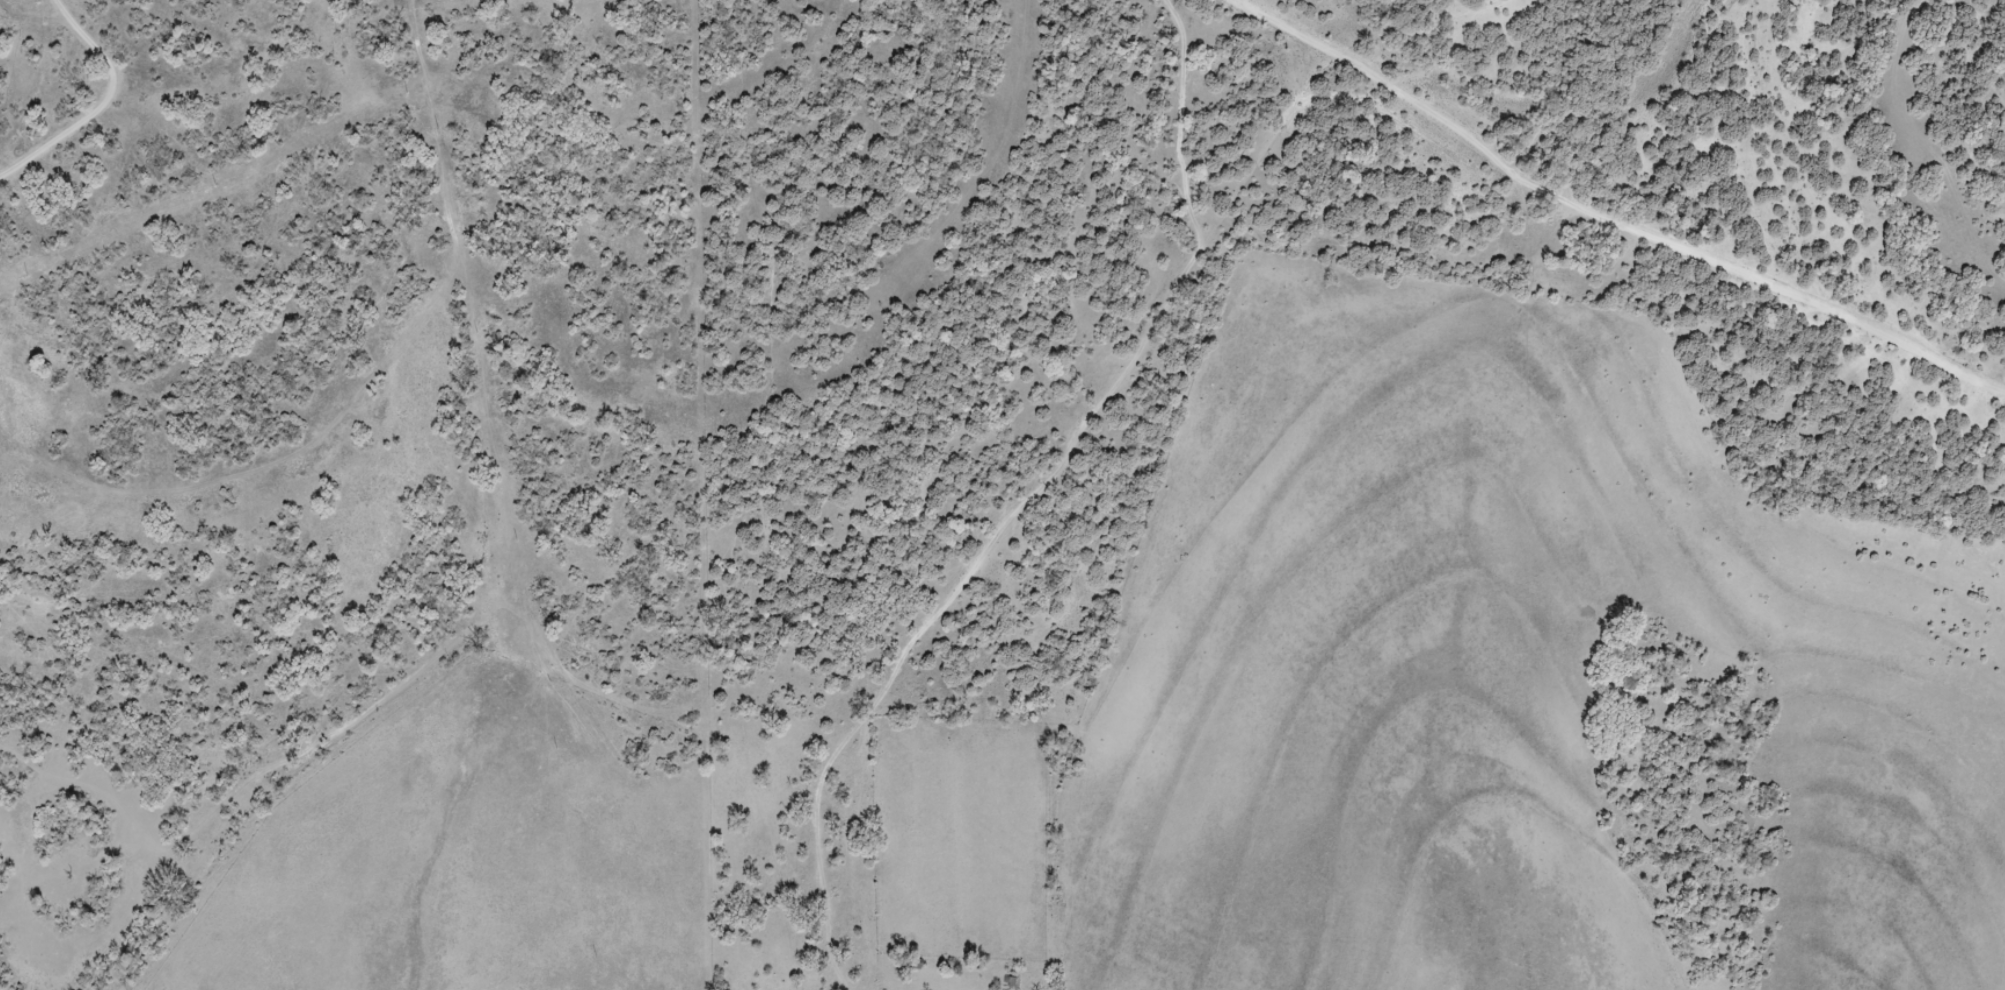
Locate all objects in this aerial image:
road: (1266, 16)
road: (1640, 229)
road: (920, 477)
building: (915, 964)
building: (1012, 983)

